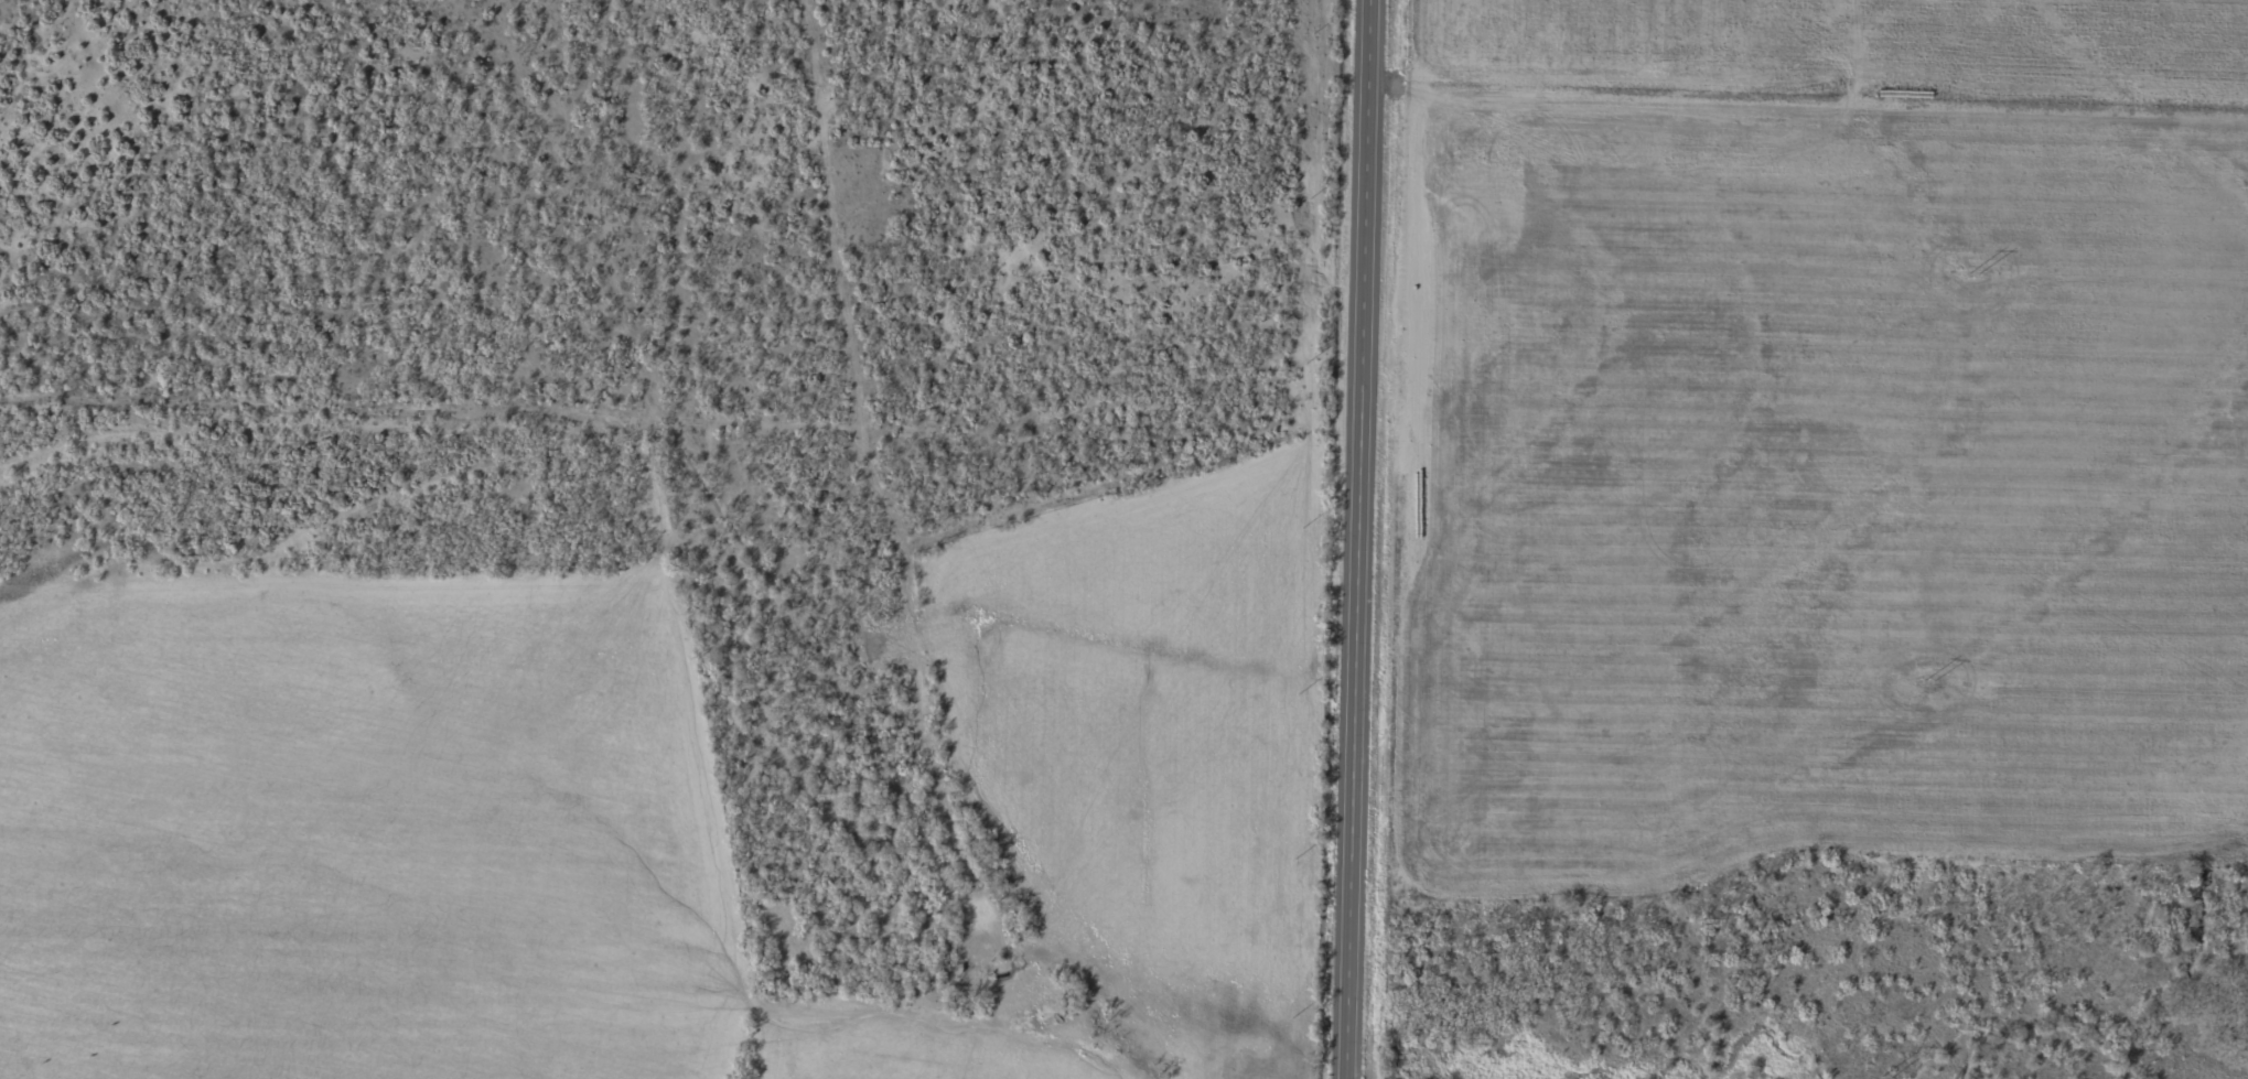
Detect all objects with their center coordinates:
power tower: (1972, 273)
road: (1365, 539)
power tower: (1929, 680)
power tower: (1886, 1077)

